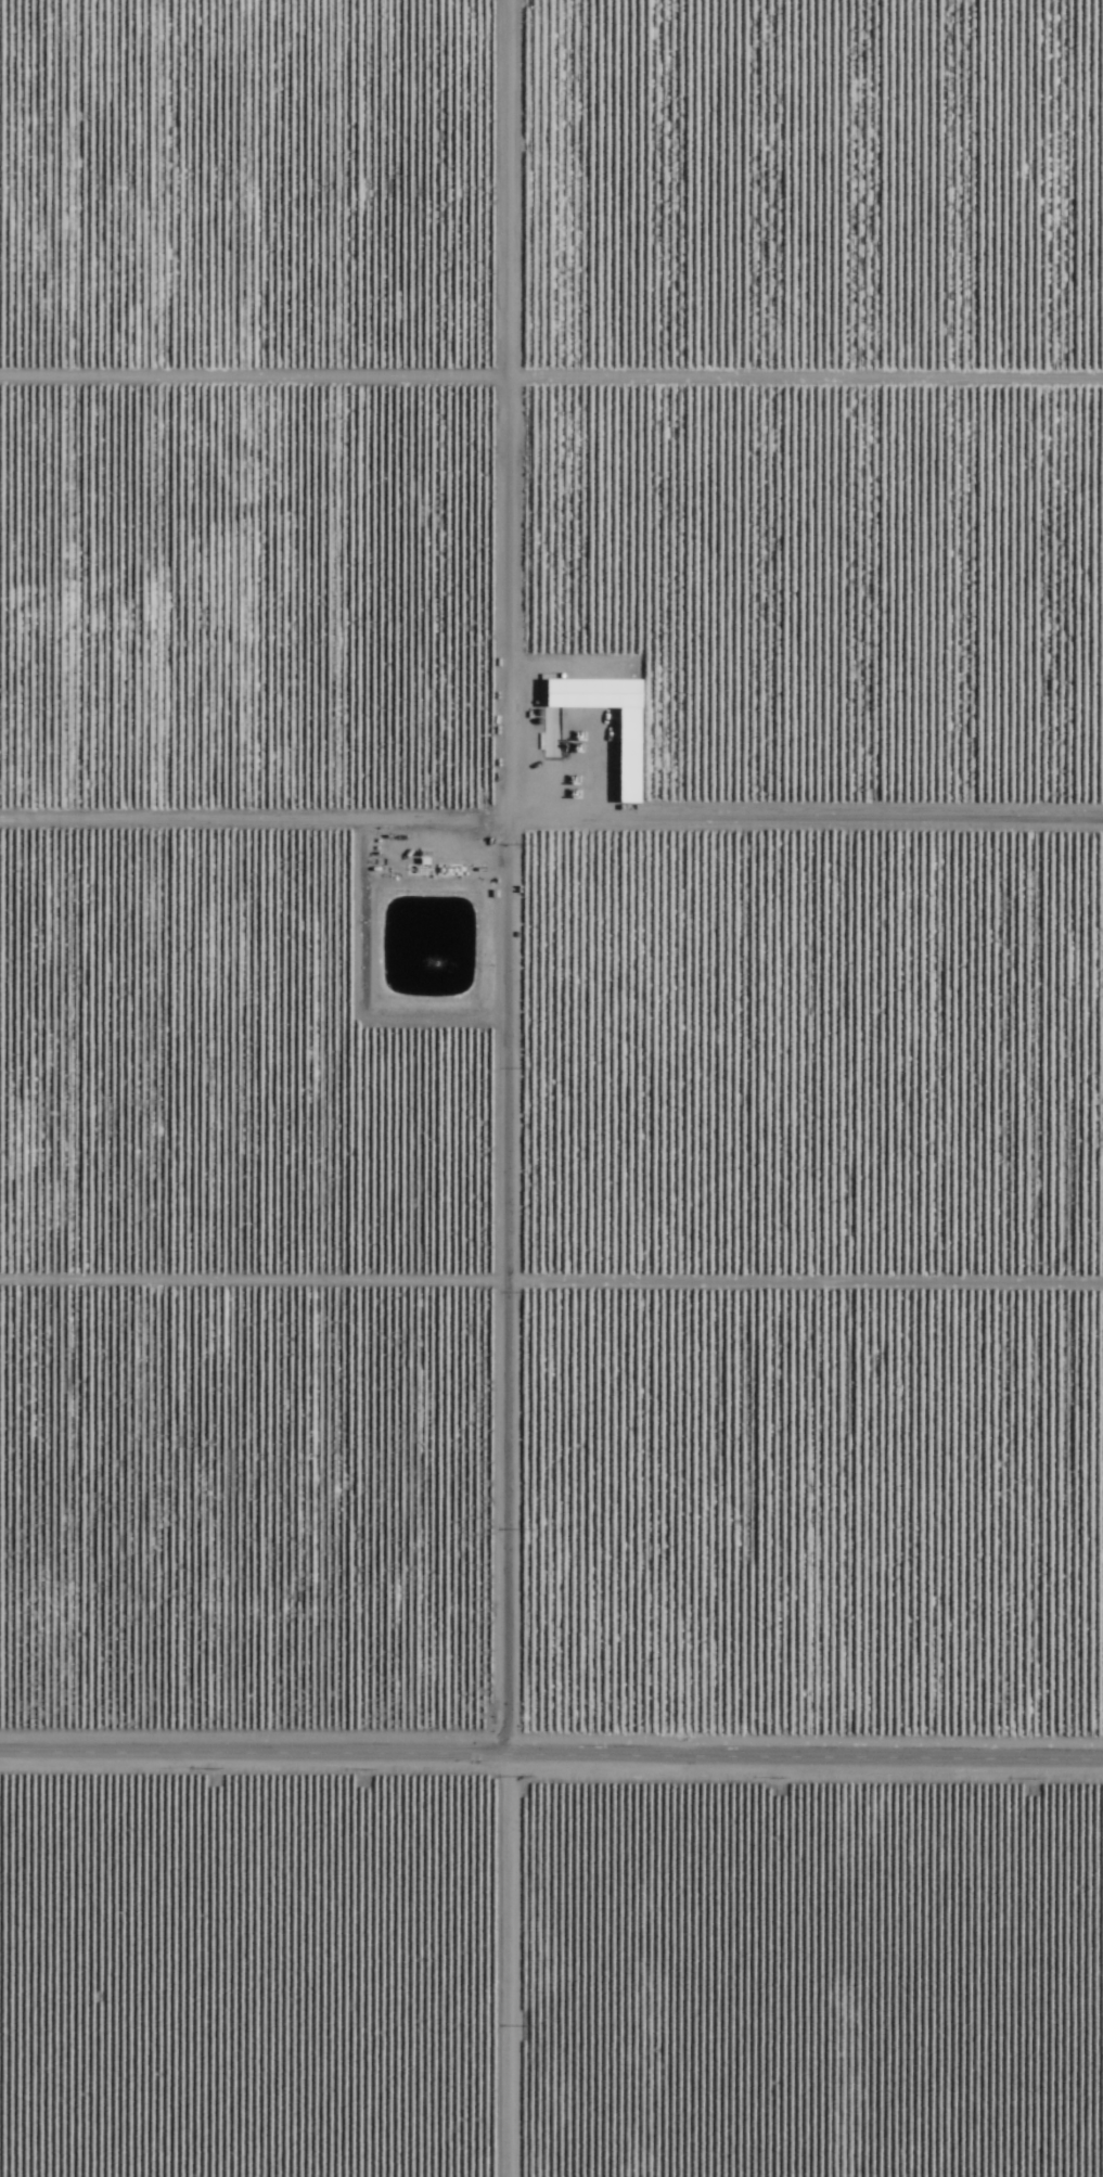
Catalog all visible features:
road: (177, 278)
road: (551, 435)
road: (529, 1088)
crop: (551, 1088)
road: (551, 1760)

